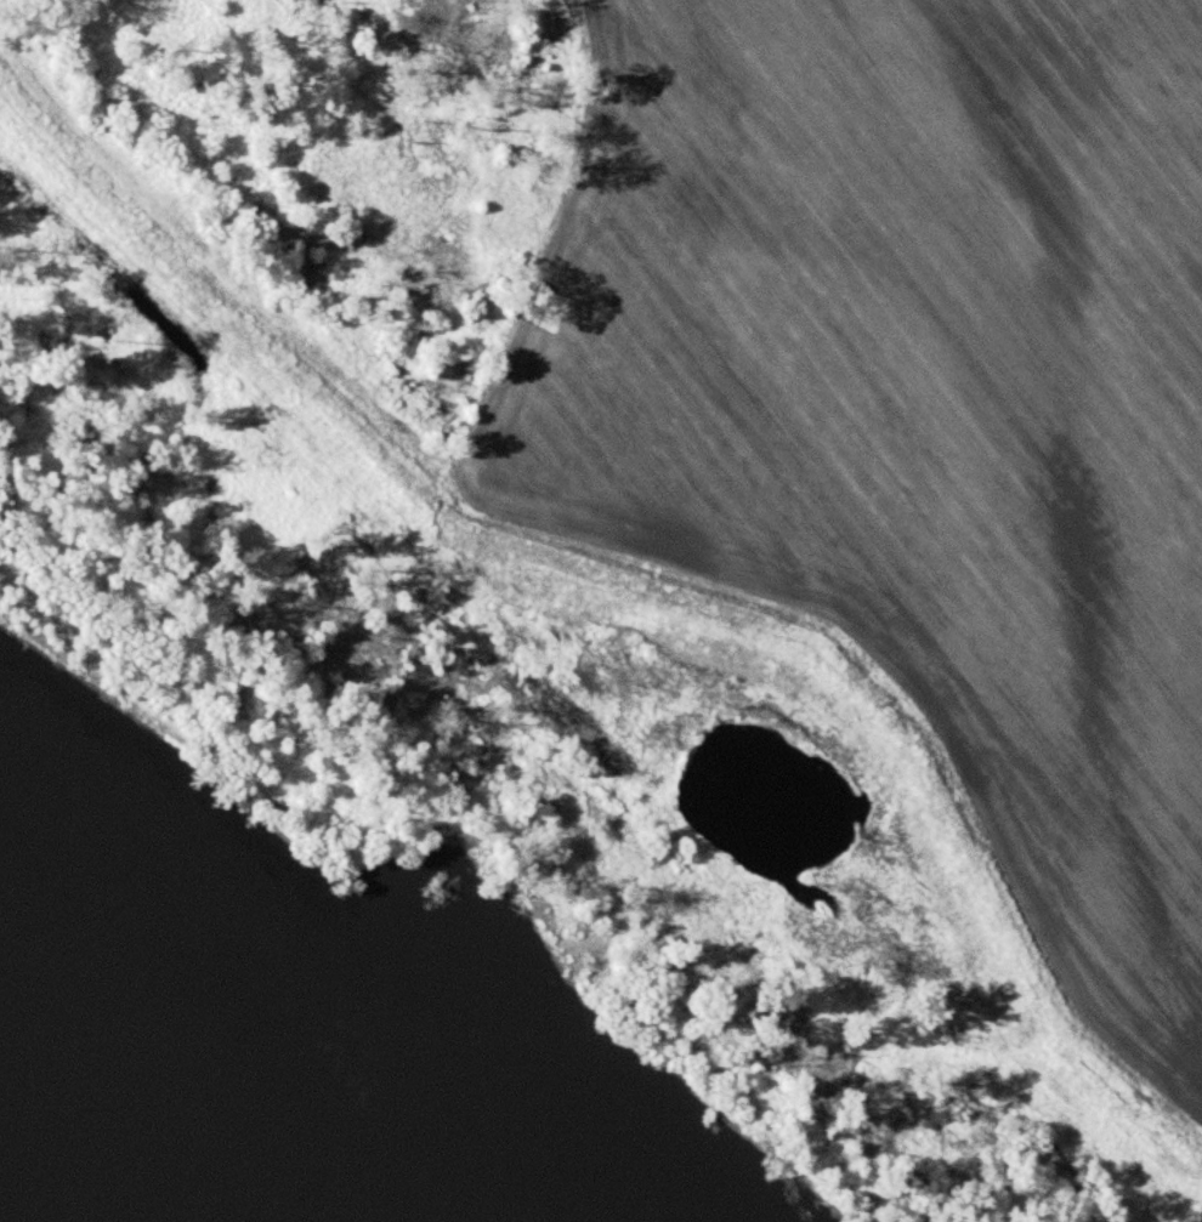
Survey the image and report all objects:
river: (93, 1138)

